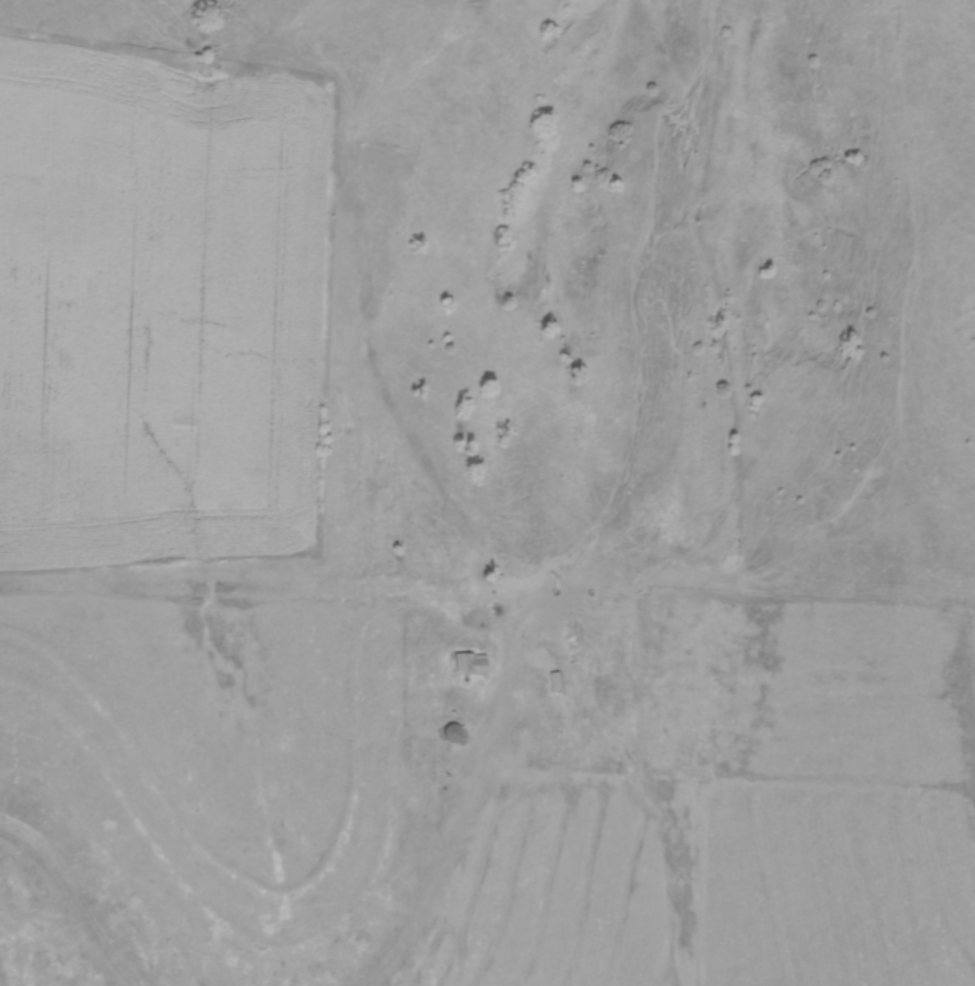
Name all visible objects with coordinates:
building: (468, 662)
building: (556, 683)
building: (452, 732)
road: (443, 863)
road: (75, 896)

